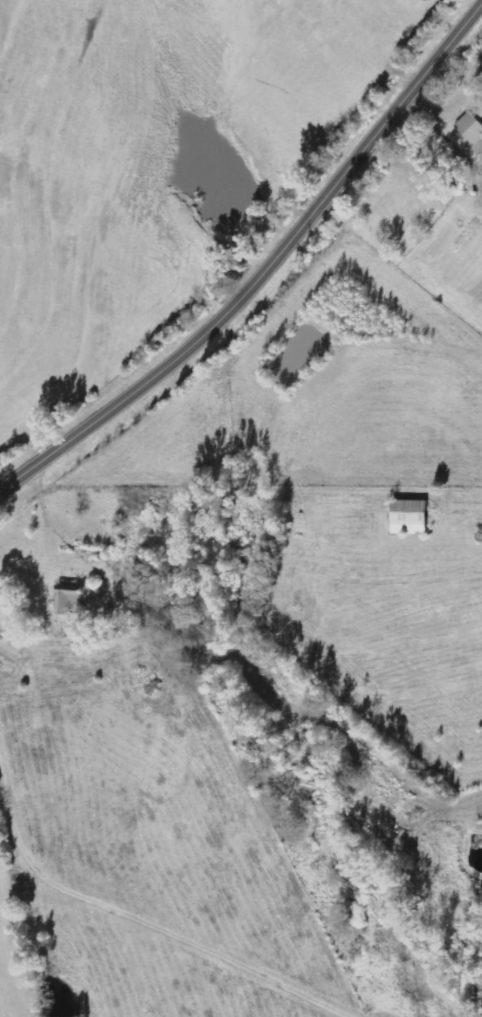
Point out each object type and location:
building: (469, 135)
road: (264, 272)
building: (409, 518)
building: (69, 598)

